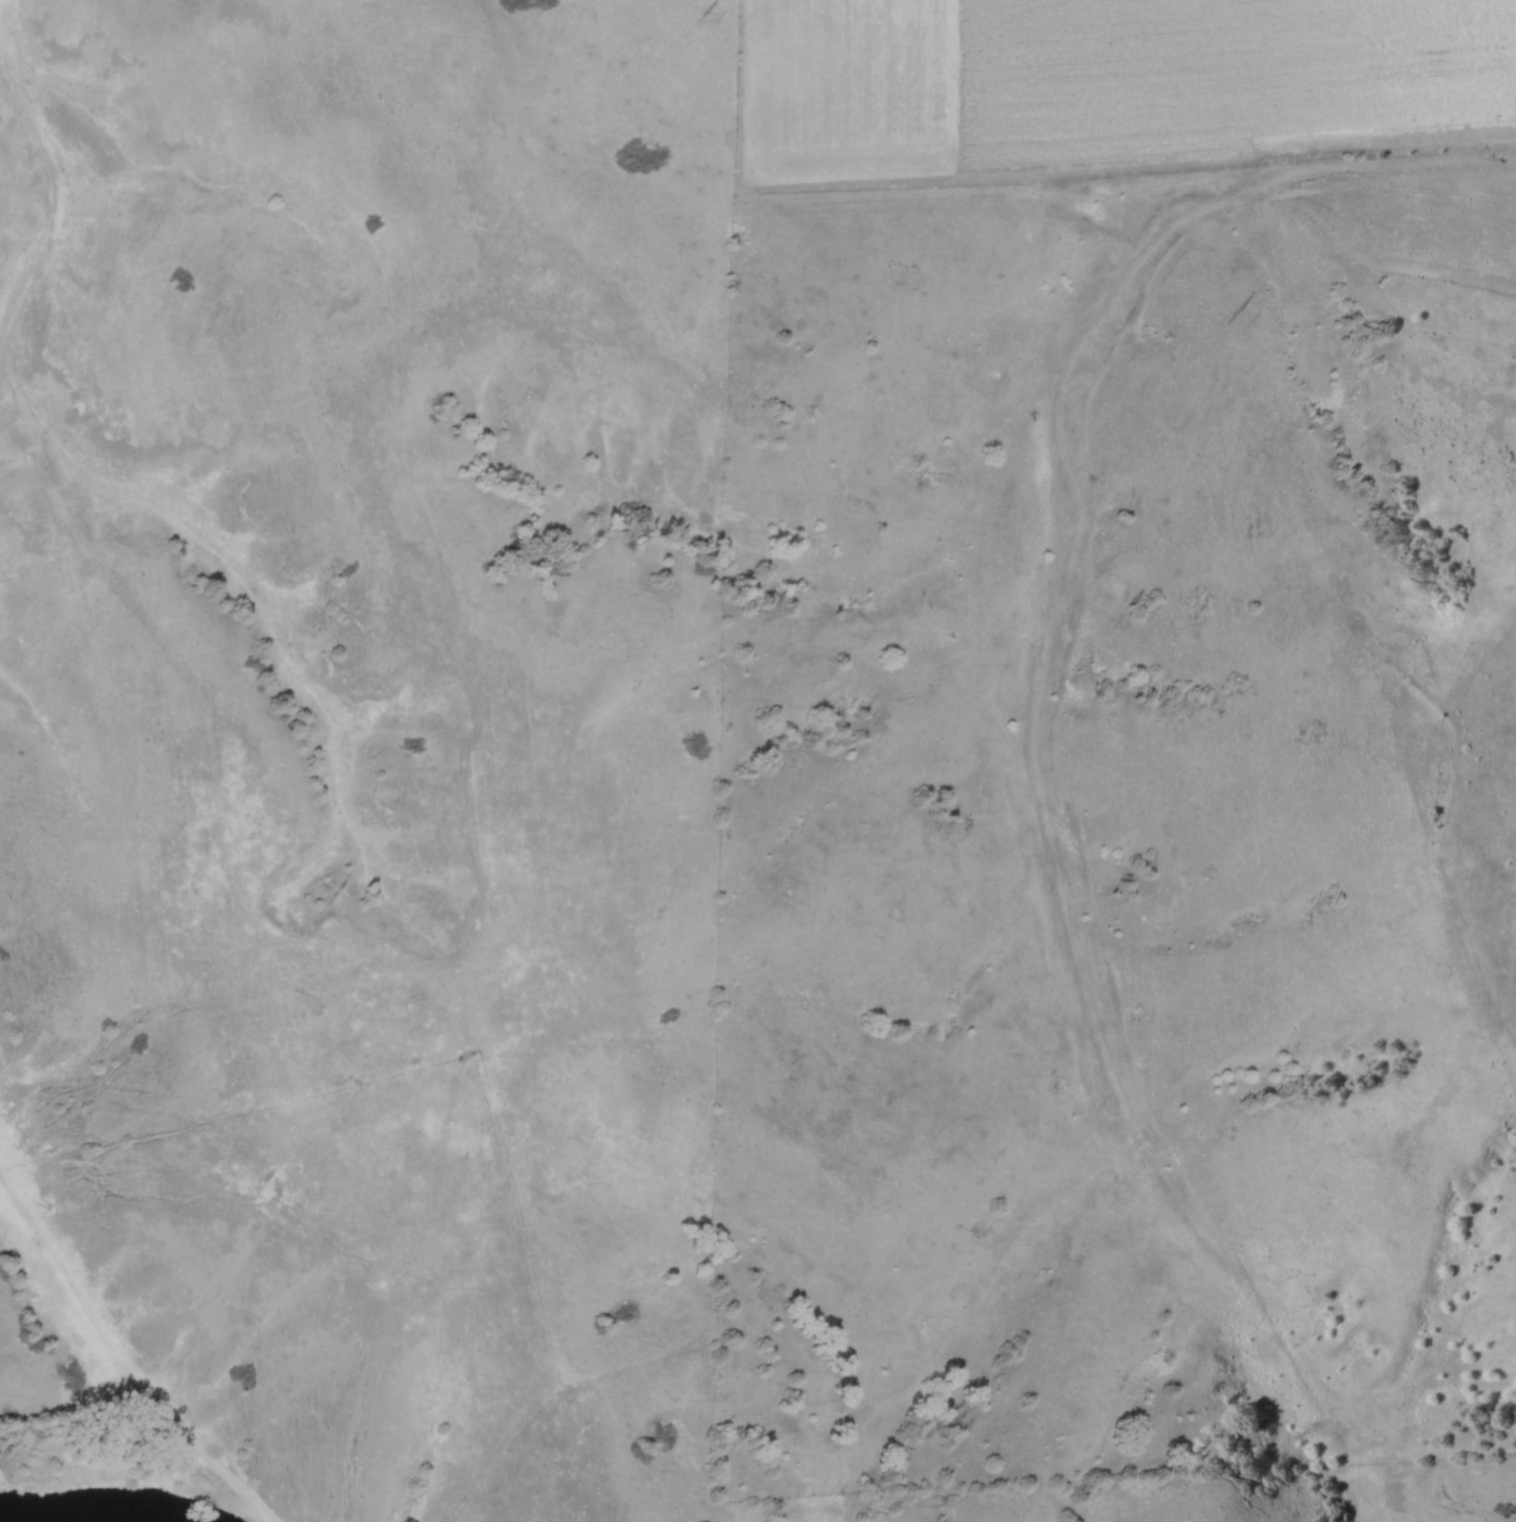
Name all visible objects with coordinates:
power tower: (697, 15)
crop: (1110, 78)
power tower: (1225, 317)

